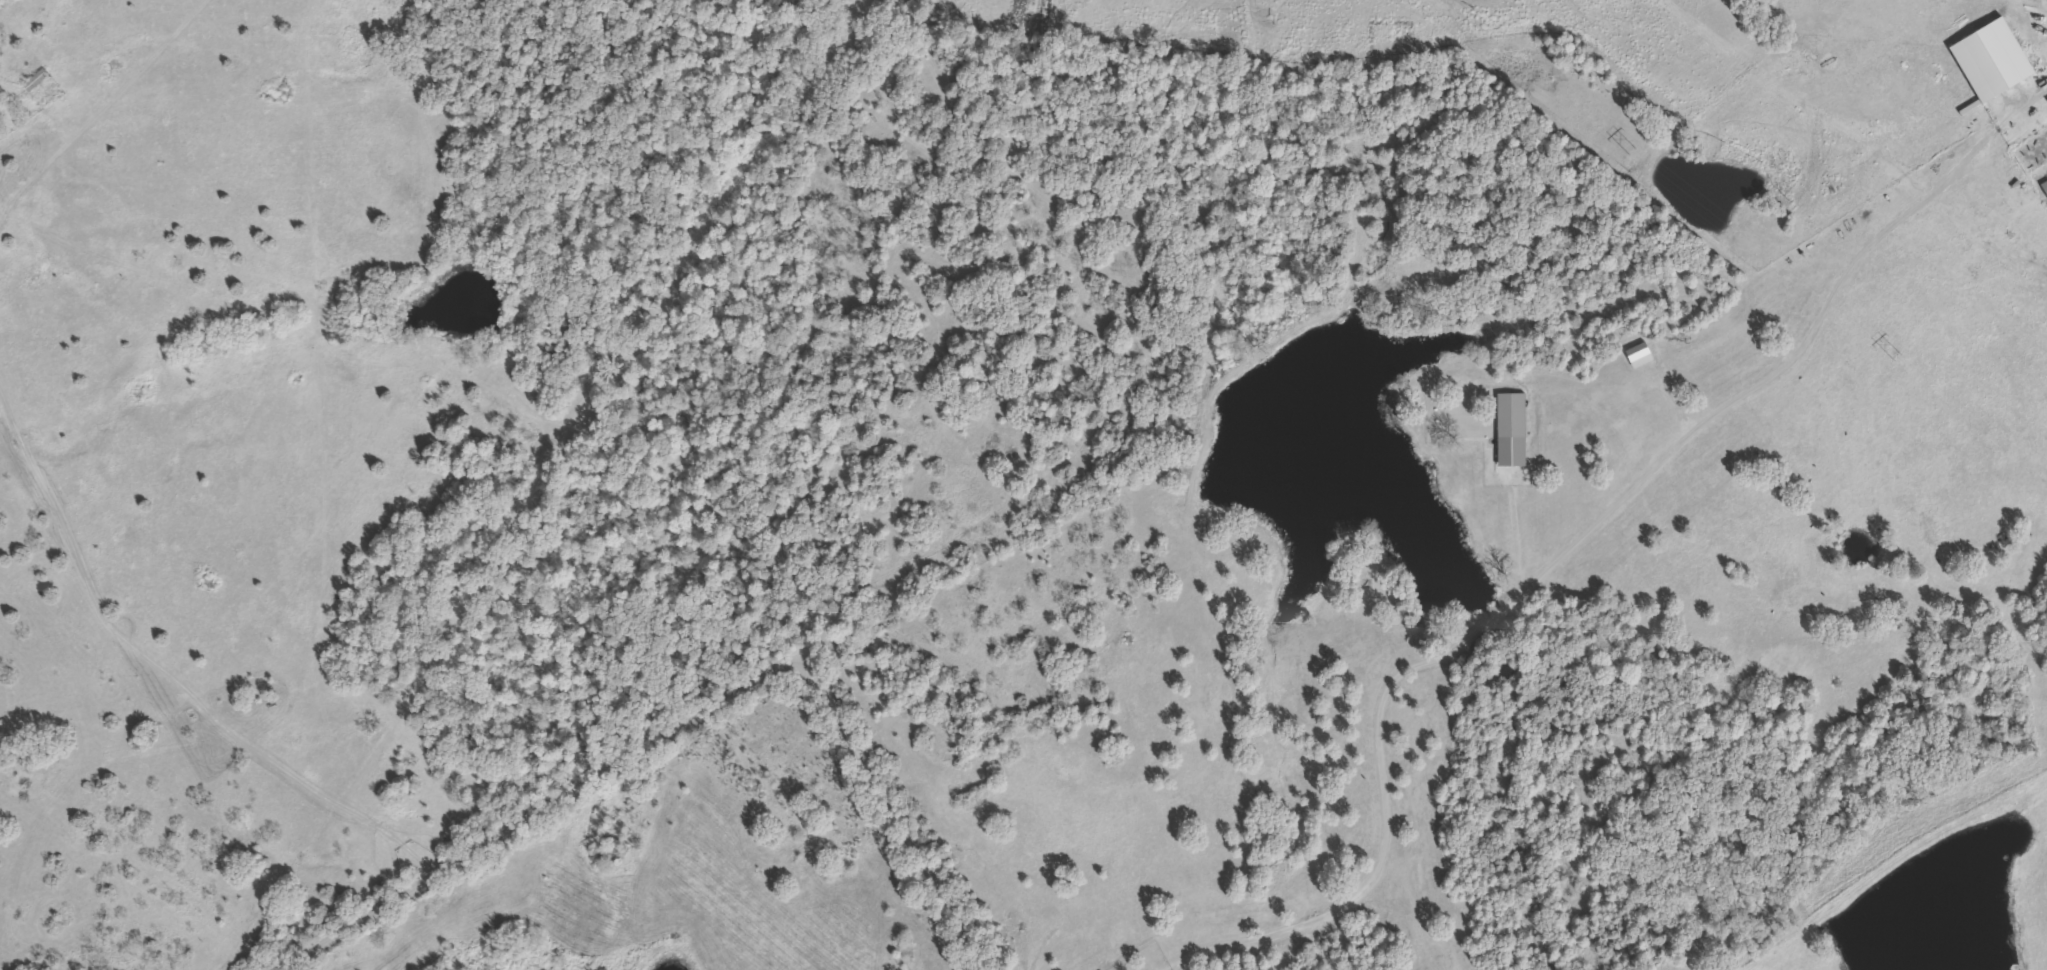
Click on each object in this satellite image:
building: (36, 77)
power tower: (1635, 144)
building: (2045, 185)
building: (1511, 413)
road: (1552, 563)
road: (166, 676)
road: (686, 715)
building: (22, 773)

